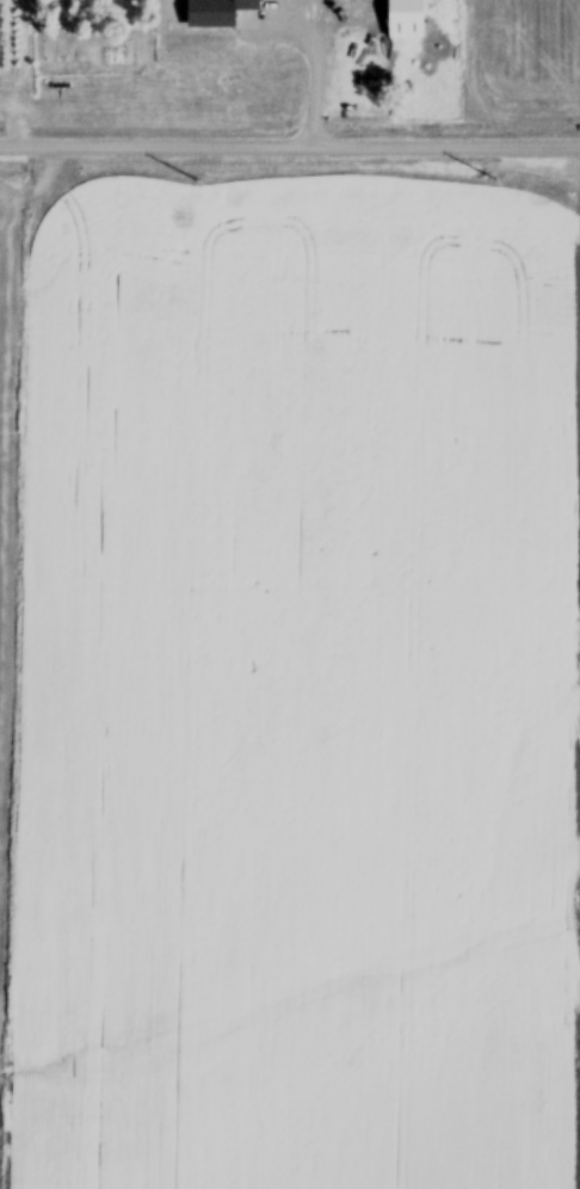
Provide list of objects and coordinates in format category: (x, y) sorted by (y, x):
building: (218, 14)
road: (306, 73)
road: (289, 148)

